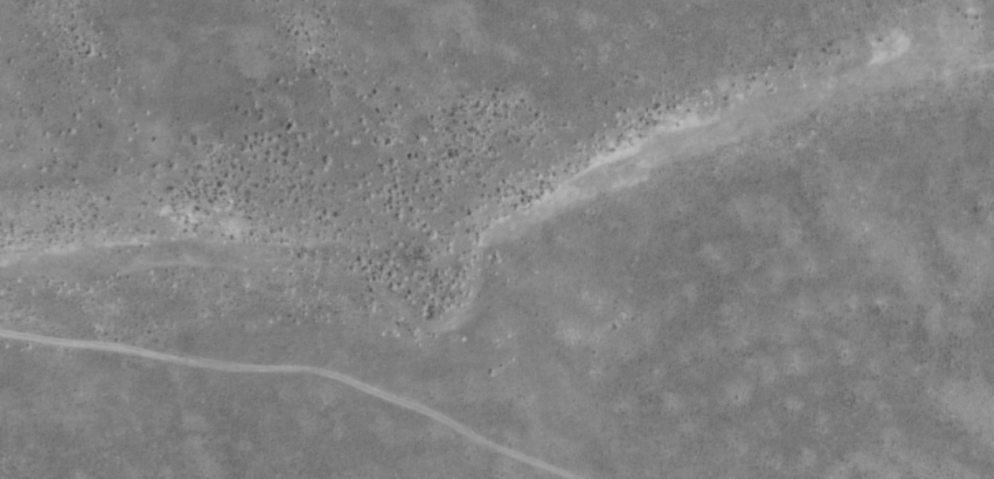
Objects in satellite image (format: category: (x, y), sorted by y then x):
road: (298, 368)

